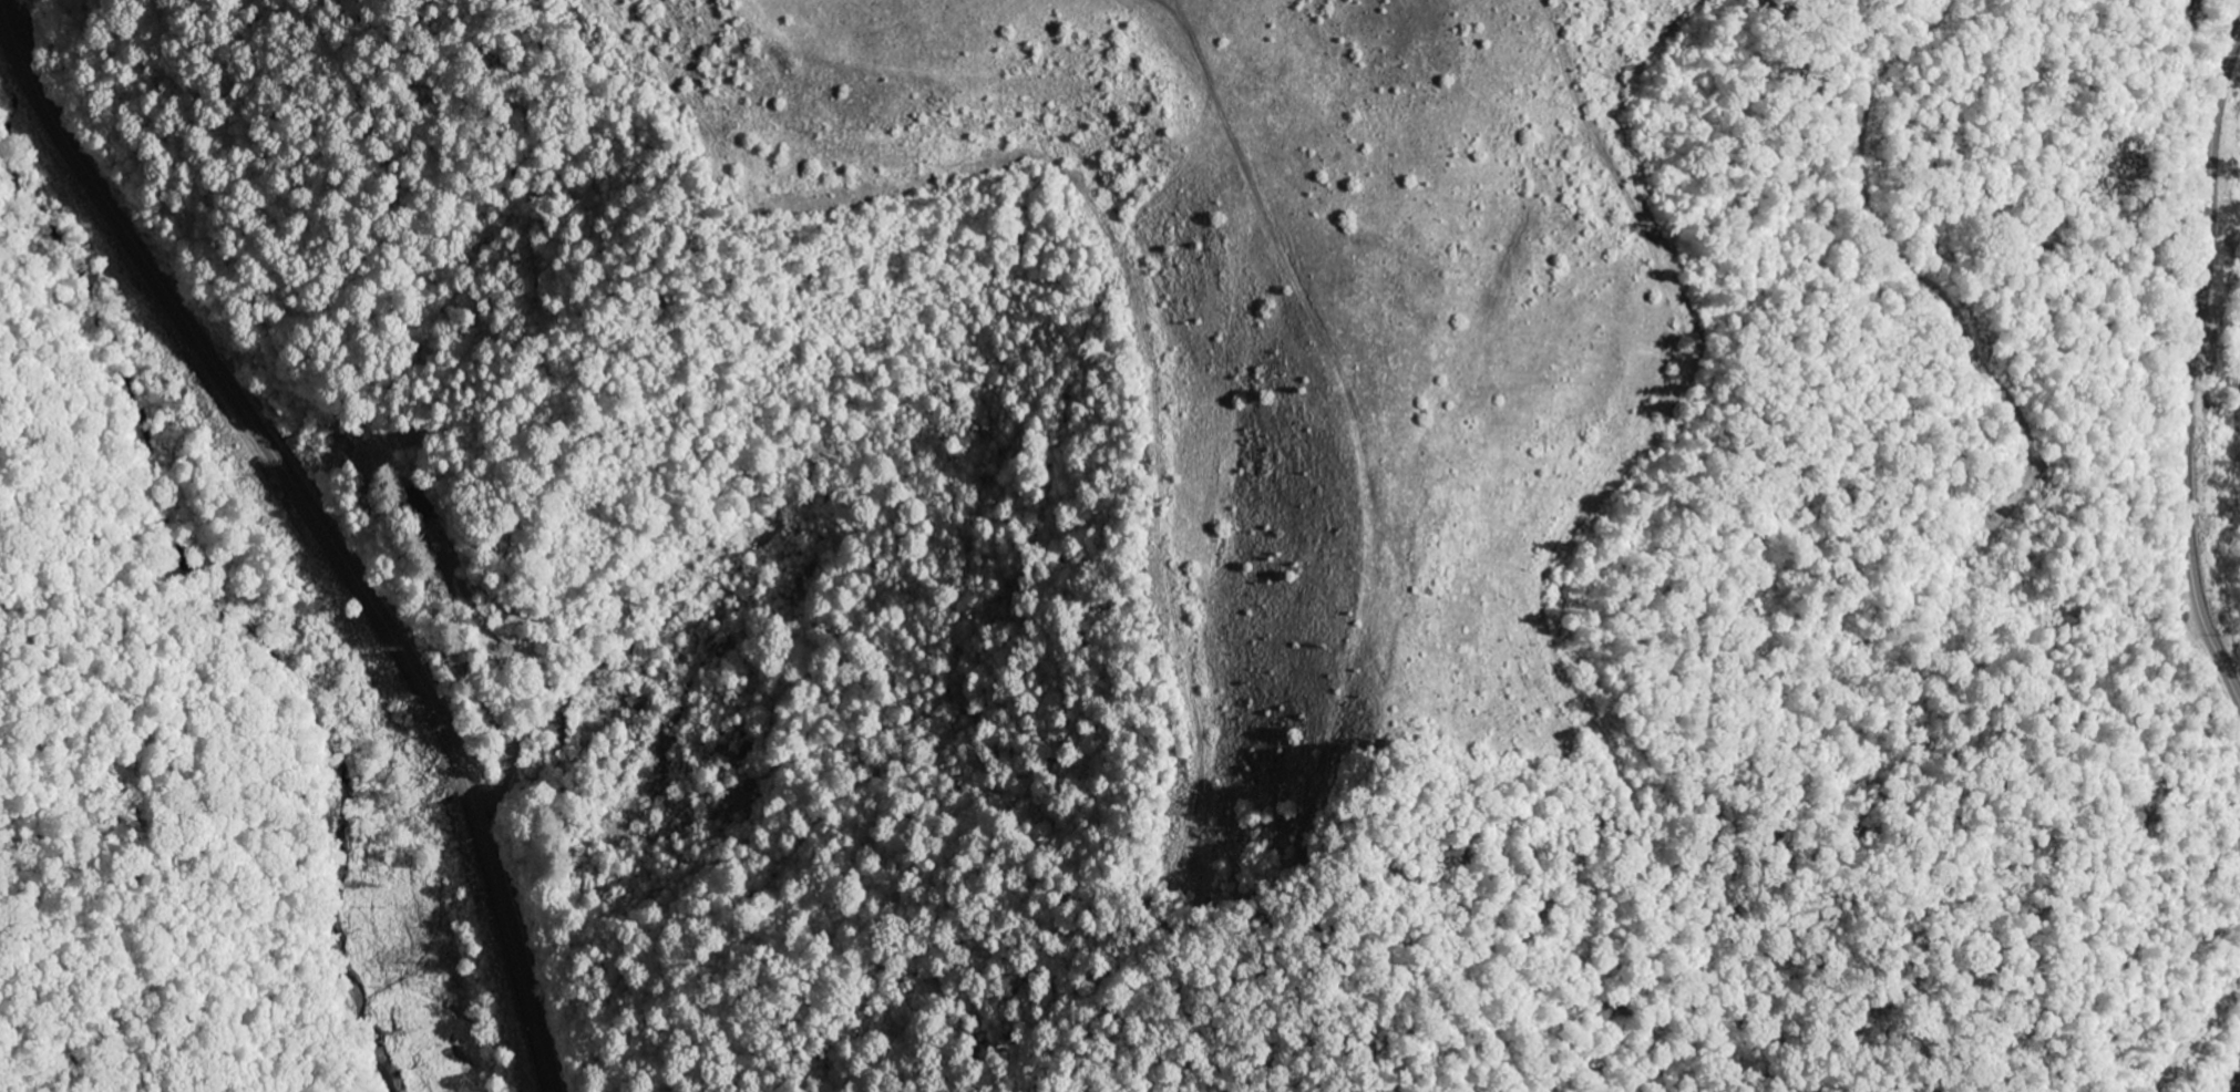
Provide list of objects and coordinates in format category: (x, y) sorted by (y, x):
road: (2189, 367)
building: (418, 506)
road: (321, 526)
road: (2237, 1083)

